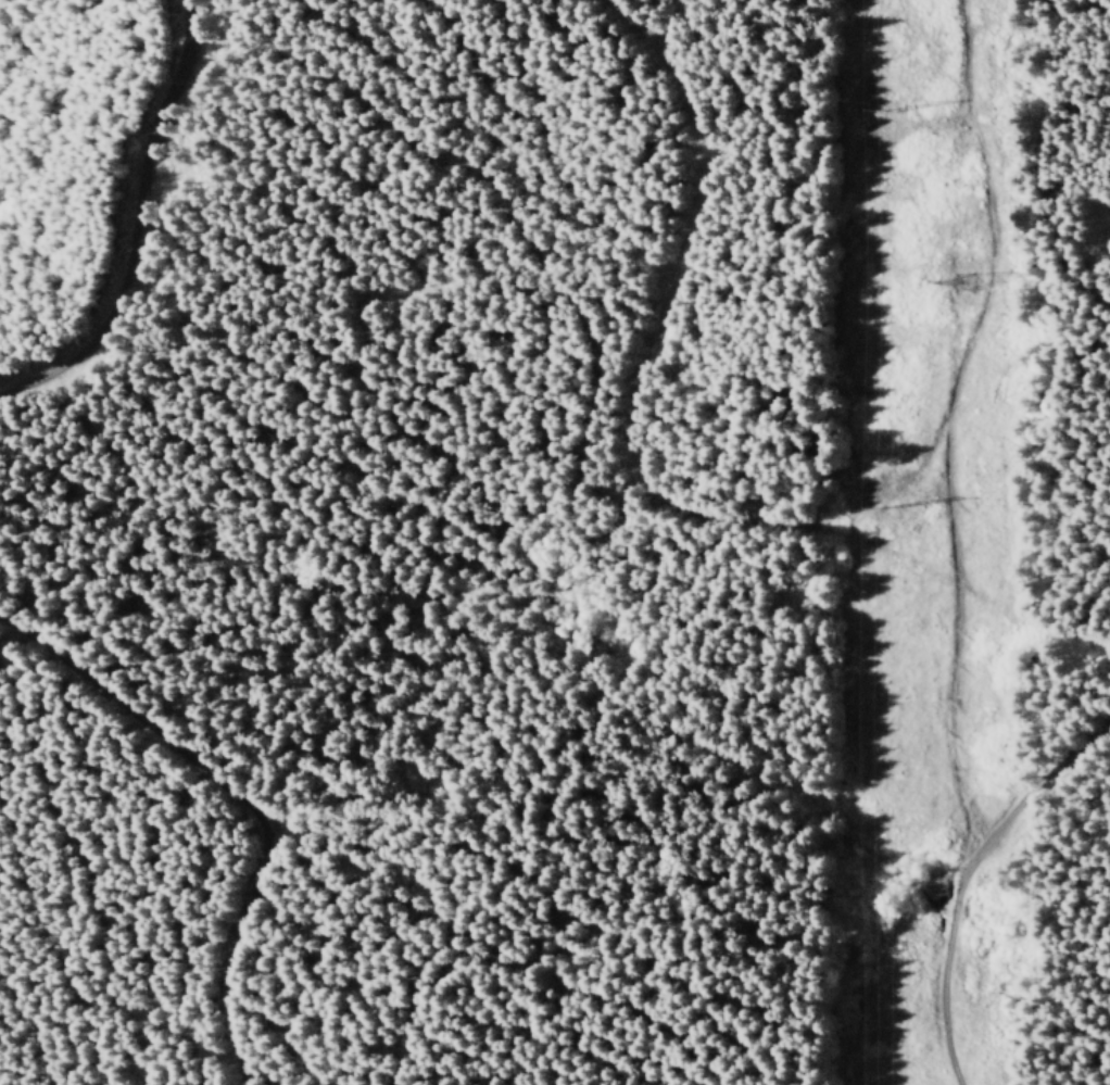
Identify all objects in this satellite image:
power tower: (875, 113)
power tower: (951, 283)
power tower: (880, 506)

